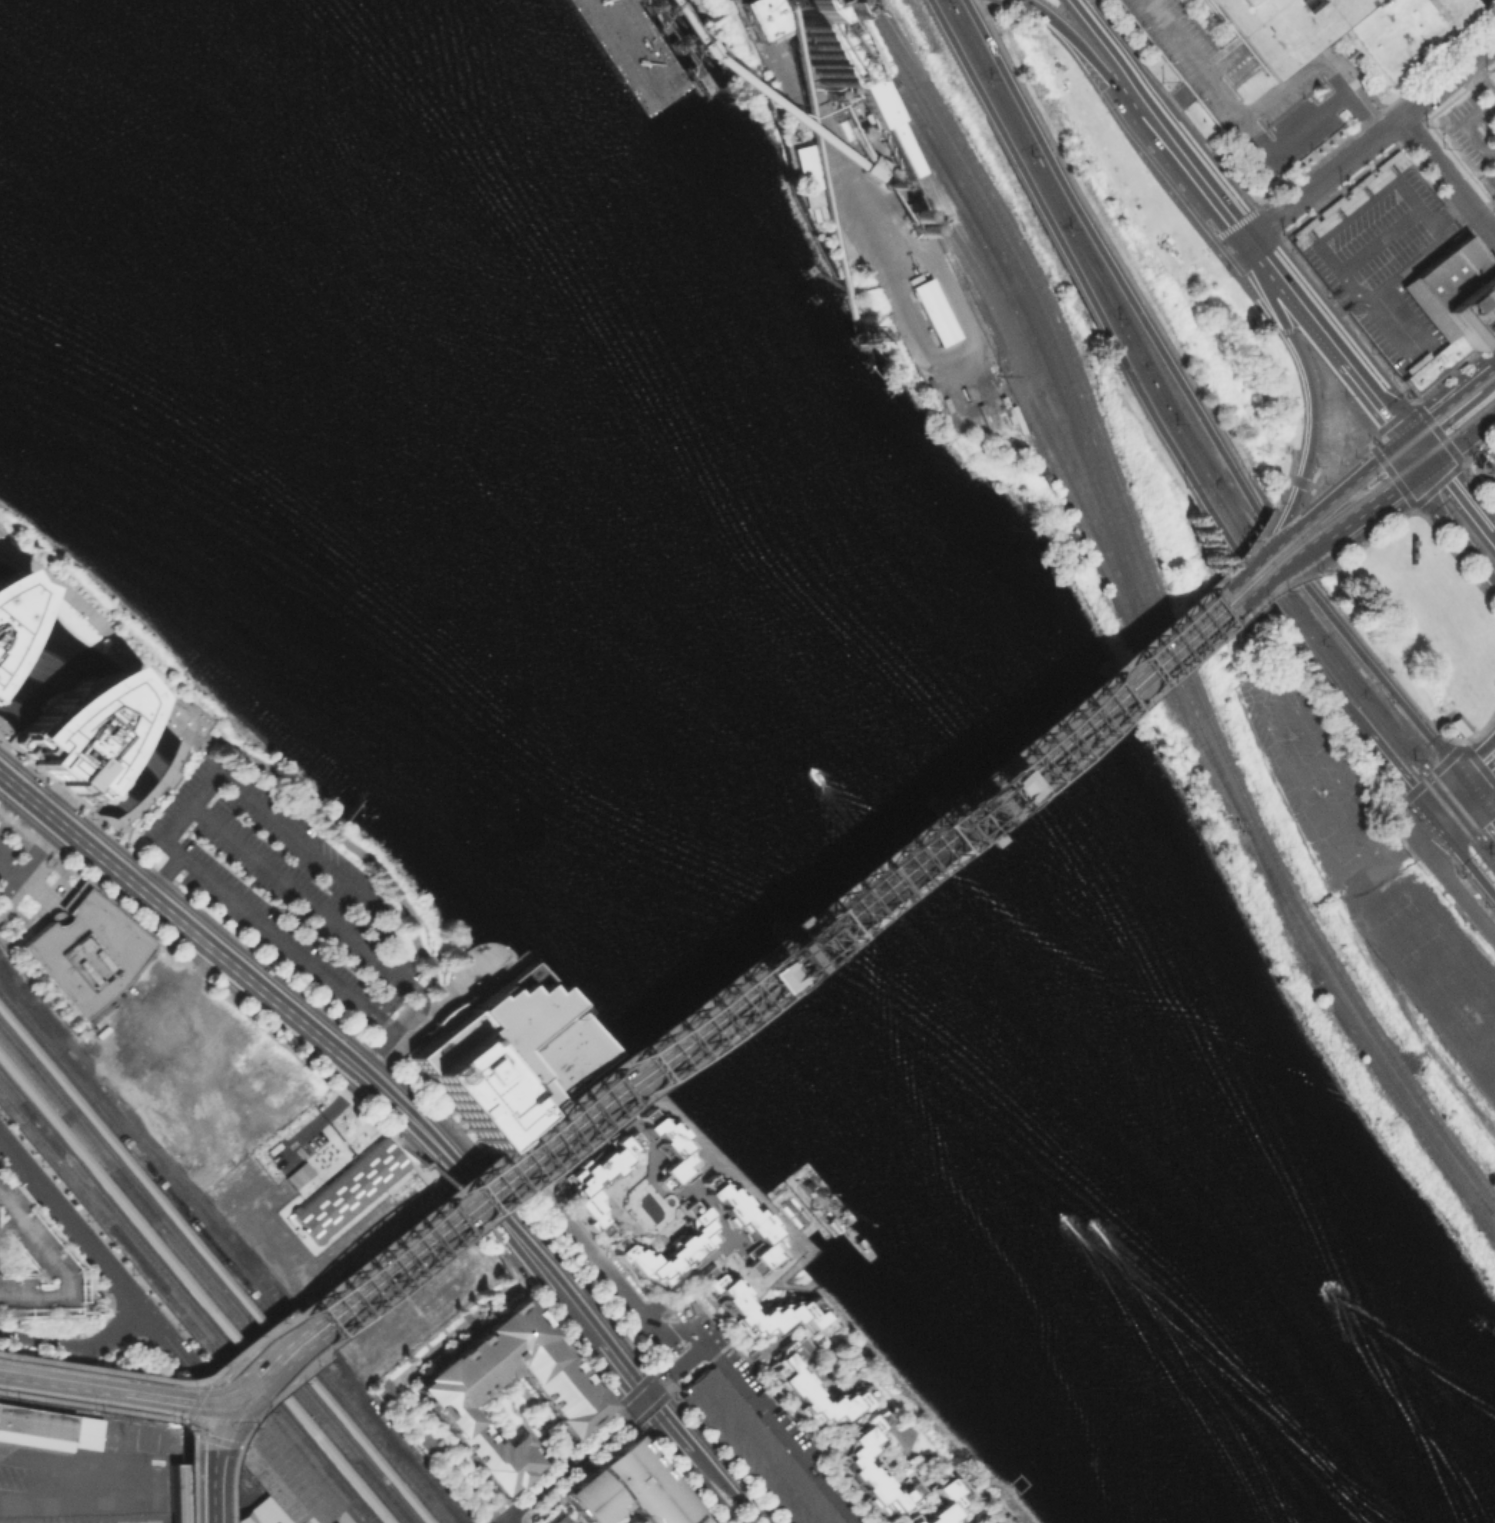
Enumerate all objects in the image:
road: (1009, 3)
road: (1034, 9)
building: (780, 15)
building: (1336, 29)
building: (823, 47)
road: (1106, 47)
pier: (685, 51)
road: (1321, 60)
road: (1092, 66)
road: (1223, 66)
parking lot: (1256, 94)
road: (808, 100)
road: (1243, 115)
building: (884, 117)
parking lot: (1473, 127)
building: (685, 129)
road: (1372, 138)
road: (1194, 167)
building: (810, 178)
road: (1447, 178)
parking lot: (1488, 180)
road: (1404, 189)
building: (1353, 193)
road: (1229, 225)
road: (1379, 239)
road: (1207, 244)
road: (1262, 253)
parking lot: (1384, 263)
railway: (982, 271)
railway: (1093, 272)
building: (1455, 292)
railway: (1016, 305)
road: (1093, 305)
road: (1329, 306)
building: (937, 315)
road: (1395, 317)
road: (1285, 328)
road: (1313, 333)
railway: (1049, 353)
road: (1341, 353)
road: (1302, 357)
building: (1434, 364)
road: (1485, 371)
road: (974, 375)
railway: (1023, 379)
road: (1469, 385)
road: (1196, 406)
railway: (1026, 408)
road: (1434, 413)
road: (1380, 431)
traffic signals: (1406, 438)
road: (1460, 438)
railway: (1194, 445)
railway: (1400, 449)
road: (1415, 451)
parking lot: (1492, 453)
railway: (1187, 454)
road: (1339, 464)
traffic signals: (1425, 464)
railway: (1405, 469)
road: (1390, 473)
parking lot: (1490, 477)
road: (1301, 479)
road: (1356, 480)
road: (1299, 481)
road: (1283, 486)
railway: (1360, 493)
road: (1426, 495)
road: (1378, 496)
road: (1459, 510)
road: (1267, 518)
road: (1285, 521)
road: (1267, 527)
road: (1280, 533)
road: (1299, 533)
road: (1325, 536)
road: (1374, 536)
road: (1305, 543)
road: (1267, 555)
road: (1272, 560)
road: (1293, 569)
road: (1300, 578)
road: (1238, 587)
road: (1260, 601)
railway: (1167, 610)
building: (11, 611)
railway: (1320, 617)
railway: (1157, 620)
road: (113, 642)
road: (1314, 666)
railway: (1126, 672)
road: (1094, 673)
railway: (1130, 678)
road: (1256, 692)
road: (1085, 709)
road: (1113, 715)
building: (1458, 724)
building: (84, 729)
traffic signals: (1044, 743)
river: (712, 760)
road: (1480, 773)
road: (1395, 775)
traffic signals: (1467, 787)
road: (146, 798)
road: (1449, 804)
road: (1480, 805)
road: (141, 813)
traffic signals: (1432, 821)
road: (174, 822)
road: (20, 827)
building: (964, 837)
road: (300, 844)
railway: (905, 847)
road: (353, 849)
road: (36, 850)
railway: (1493, 850)
road: (908, 851)
railway: (910, 853)
road: (1399, 854)
road: (1463, 859)
road: (856, 862)
parking lot: (15, 866)
road: (7, 870)
road: (162, 875)
road: (1450, 881)
road: (854, 894)
parking lot: (289, 896)
road: (884, 898)
railway: (829, 908)
railway: (834, 914)
building: (773, 921)
road: (816, 924)
road: (184, 928)
building: (89, 952)
road: (1411, 973)
traffic signals: (698, 1019)
road: (389, 1032)
road: (403, 1040)
railway: (1359, 1043)
building: (506, 1055)
railway: (55, 1057)
railway: (47, 1081)
road: (321, 1116)
road: (682, 1120)
road: (416, 1124)
road: (402, 1126)
road: (505, 1142)
building: (667, 1147)
road: (534, 1149)
road: (577, 1155)
road: (423, 1164)
building: (296, 1174)
road: (34, 1182)
building: (580, 1184)
road: (525, 1185)
building: (346, 1189)
road: (448, 1209)
building: (745, 1223)
railway: (418, 1237)
railway: (418, 1245)
building: (668, 1248)
road: (495, 1253)
road: (532, 1256)
railway: (216, 1262)
road: (103, 1266)
building: (33, 1267)
parking lot: (33, 1267)
railway: (210, 1270)
railway: (201, 1281)
railway: (197, 1285)
railway: (190, 1294)
railway: (188, 1298)
road: (155, 1300)
building: (201, 1301)
railway: (181, 1308)
building: (760, 1308)
road: (123, 1323)
railway: (275, 1323)
railway: (254, 1330)
road: (113, 1333)
road: (39, 1338)
road: (701, 1341)
road: (70, 1358)
road: (76, 1366)
road: (672, 1370)
road: (622, 1372)
road: (118, 1373)
road: (57, 1380)
road: (218, 1380)
road: (204, 1382)
road: (393, 1383)
road: (251, 1384)
parking lot: (88, 1387)
building: (811, 1387)
road: (83, 1390)
building: (569, 1395)
road: (150, 1397)
traffic signals: (644, 1399)
road: (186, 1400)
traffic signals: (223, 1404)
road: (200, 1405)
road: (203, 1405)
road: (92, 1406)
road: (234, 1412)
road: (217, 1426)
building: (47, 1427)
road: (670, 1431)
road: (208, 1440)
road: (901, 1446)
building: (754, 1450)
parking lot: (754, 1450)
road: (575, 1460)
road: (227, 1467)
building: (870, 1468)
road: (187, 1474)
building: (281, 1475)
road: (209, 1485)
building: (626, 1488)
road: (731, 1489)
building: (175, 1493)
road: (710, 1494)
building: (938, 1500)
road: (995, 1503)
road: (74, 1507)
road: (999, 1511)
building: (259, 1512)
road: (1006, 1512)
railway: (349, 1515)
road: (996, 1515)
road: (979, 1516)
building: (337, 1518)
building: (556, 1519)
building: (294, 1522)
road: (507, 1522)
building: (997, 1522)

